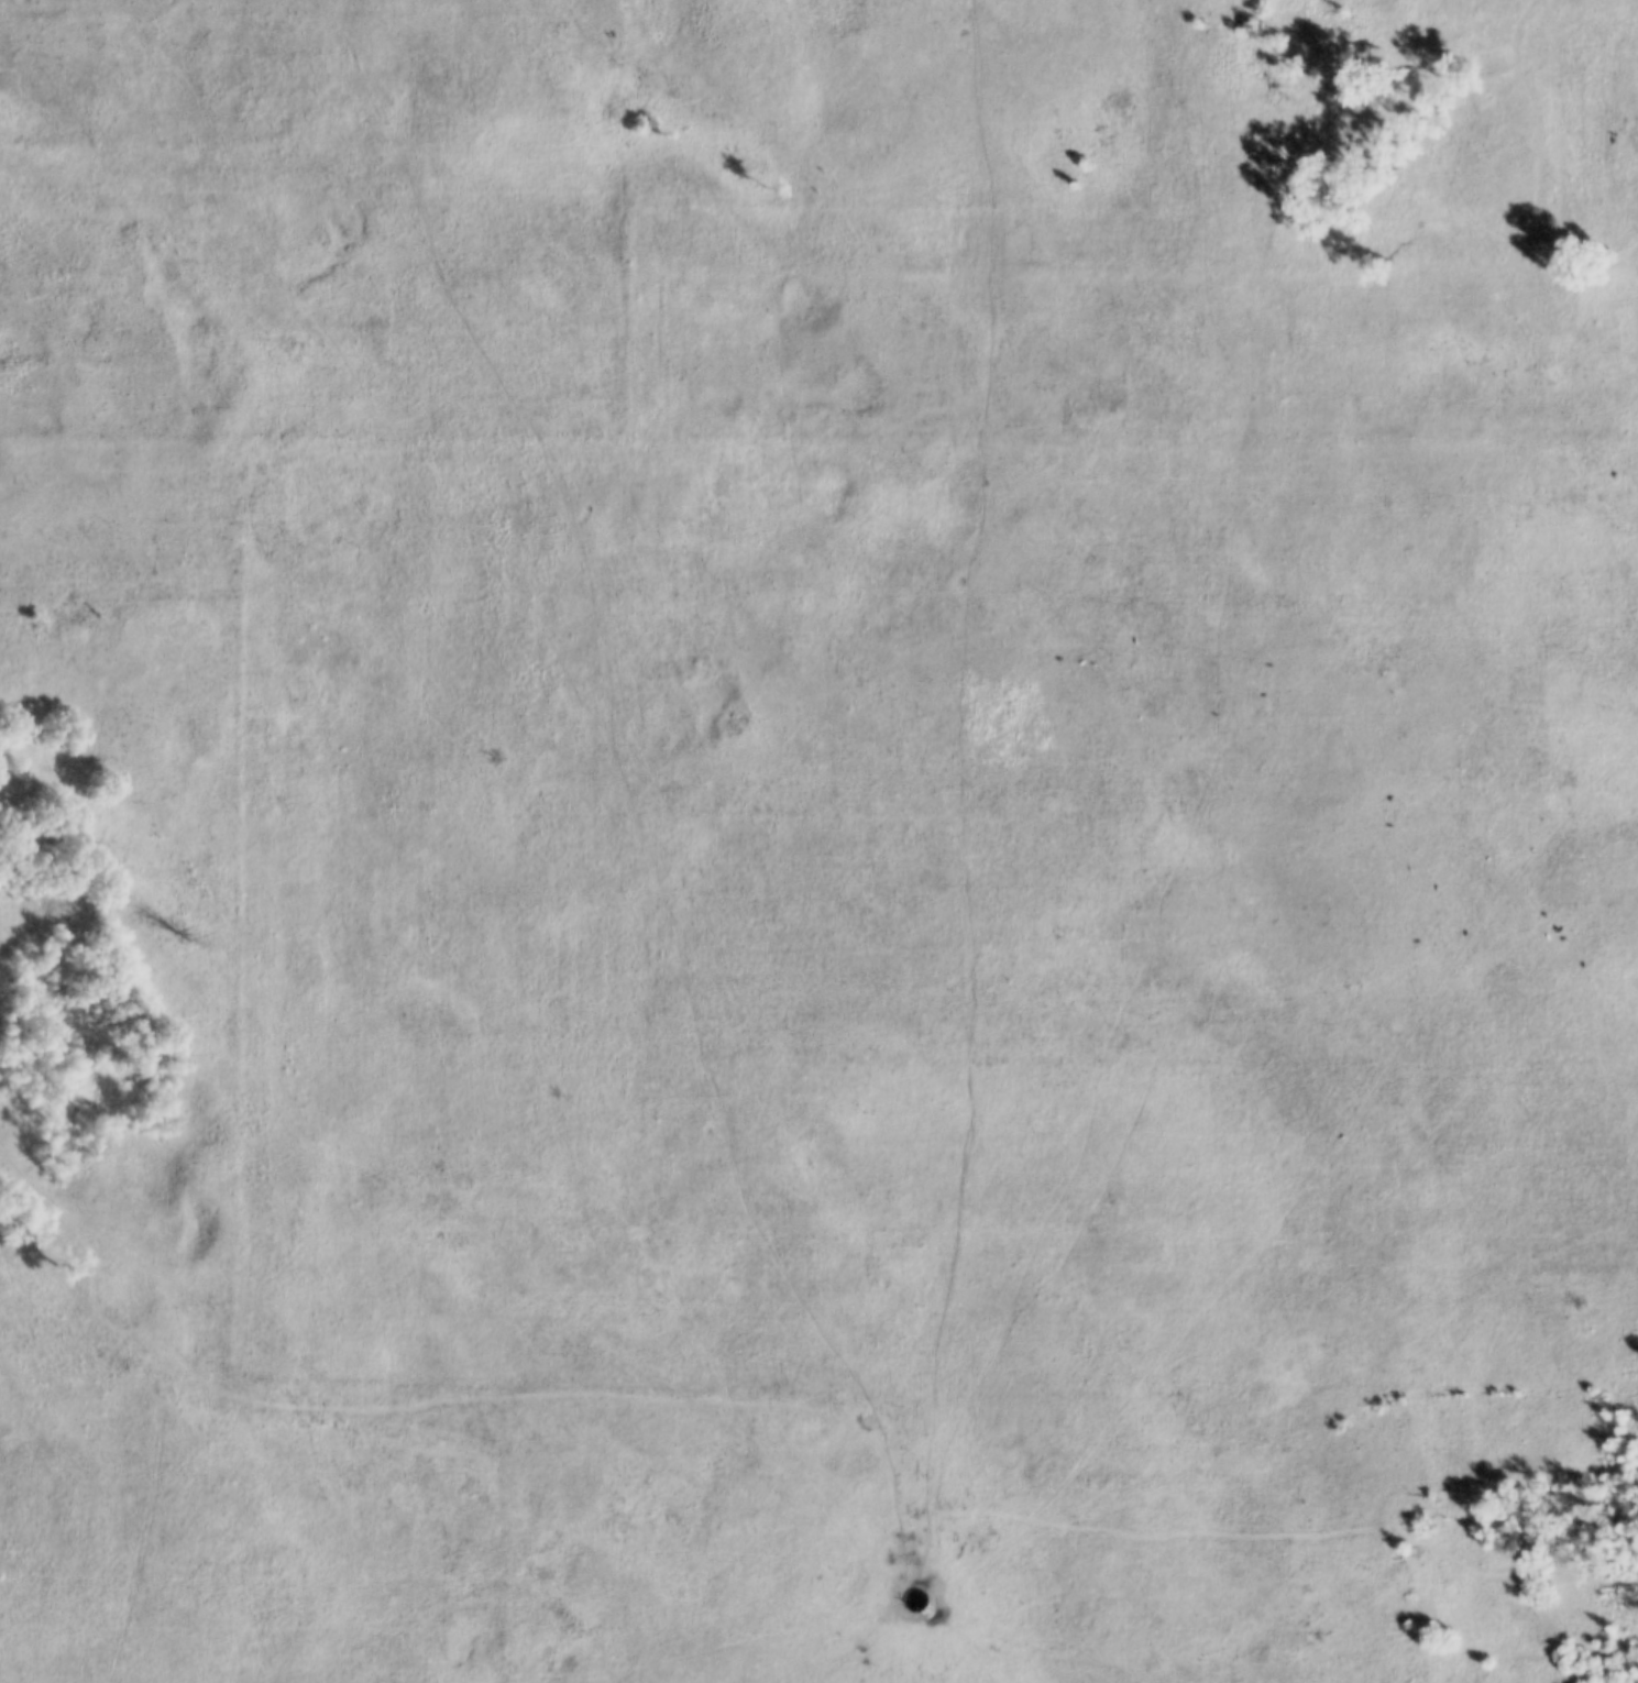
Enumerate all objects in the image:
road: (1536, 174)
road: (790, 1405)

